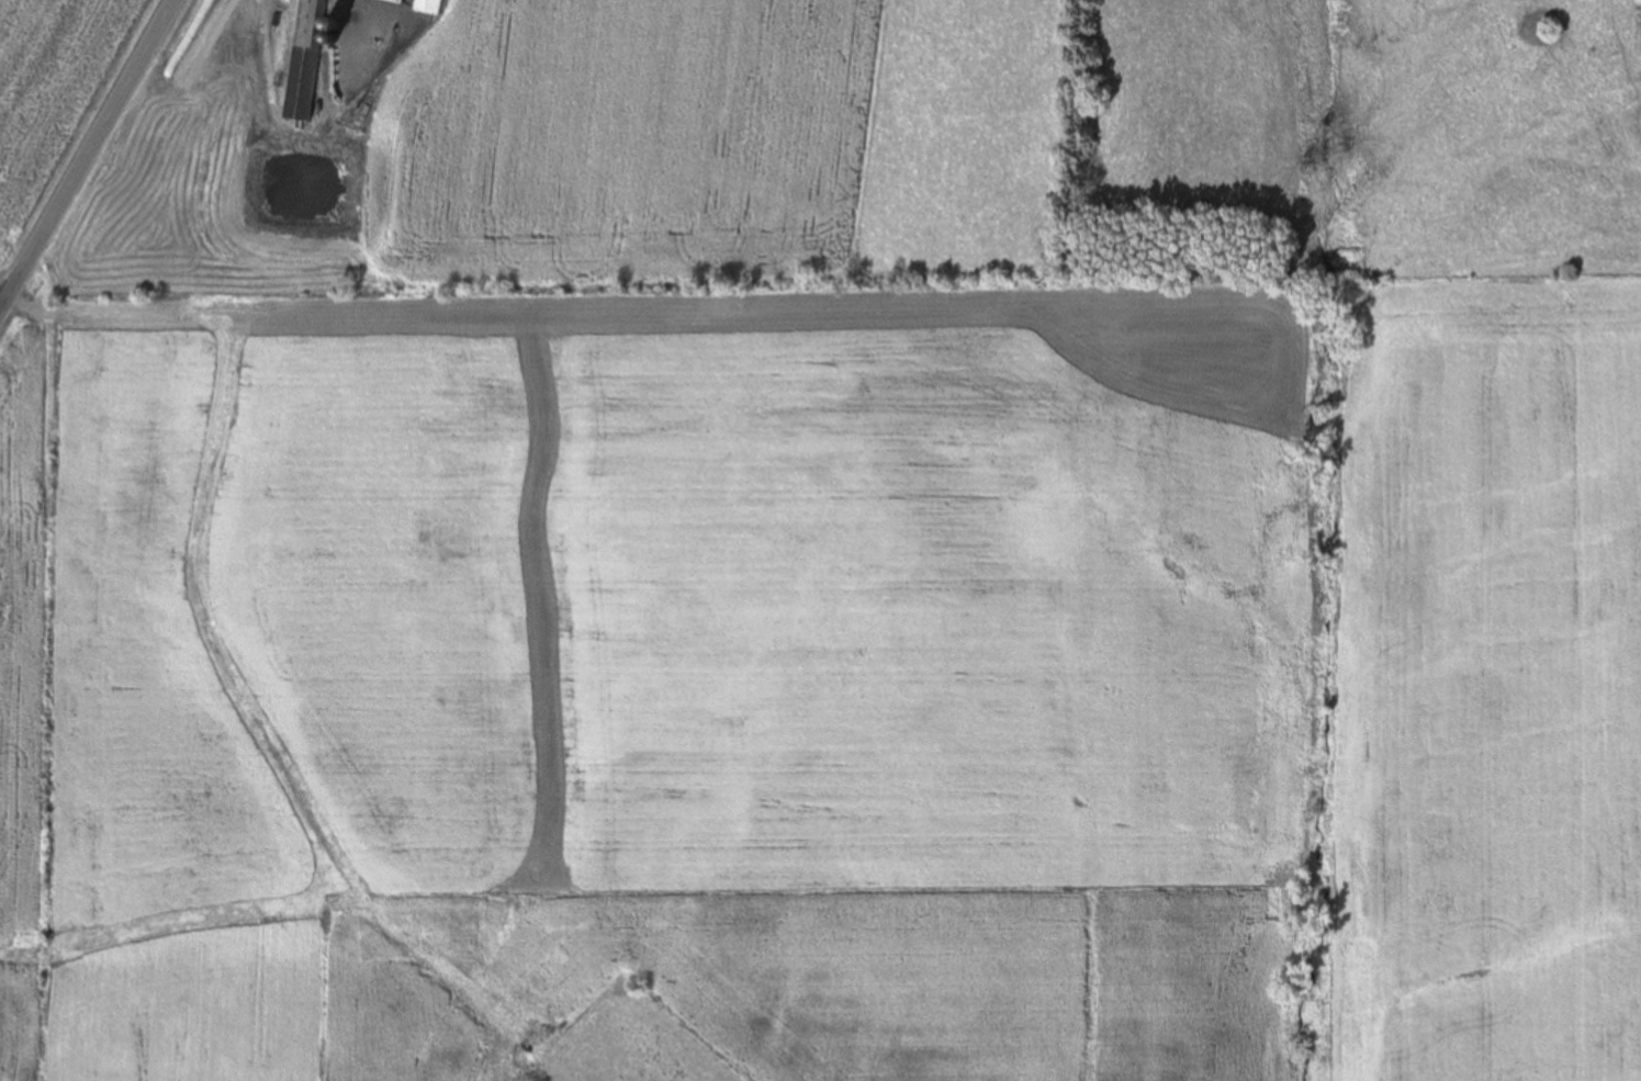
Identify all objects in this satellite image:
building: (393, 1)
building: (429, 7)
building: (308, 55)
road: (87, 156)
road: (2, 304)

